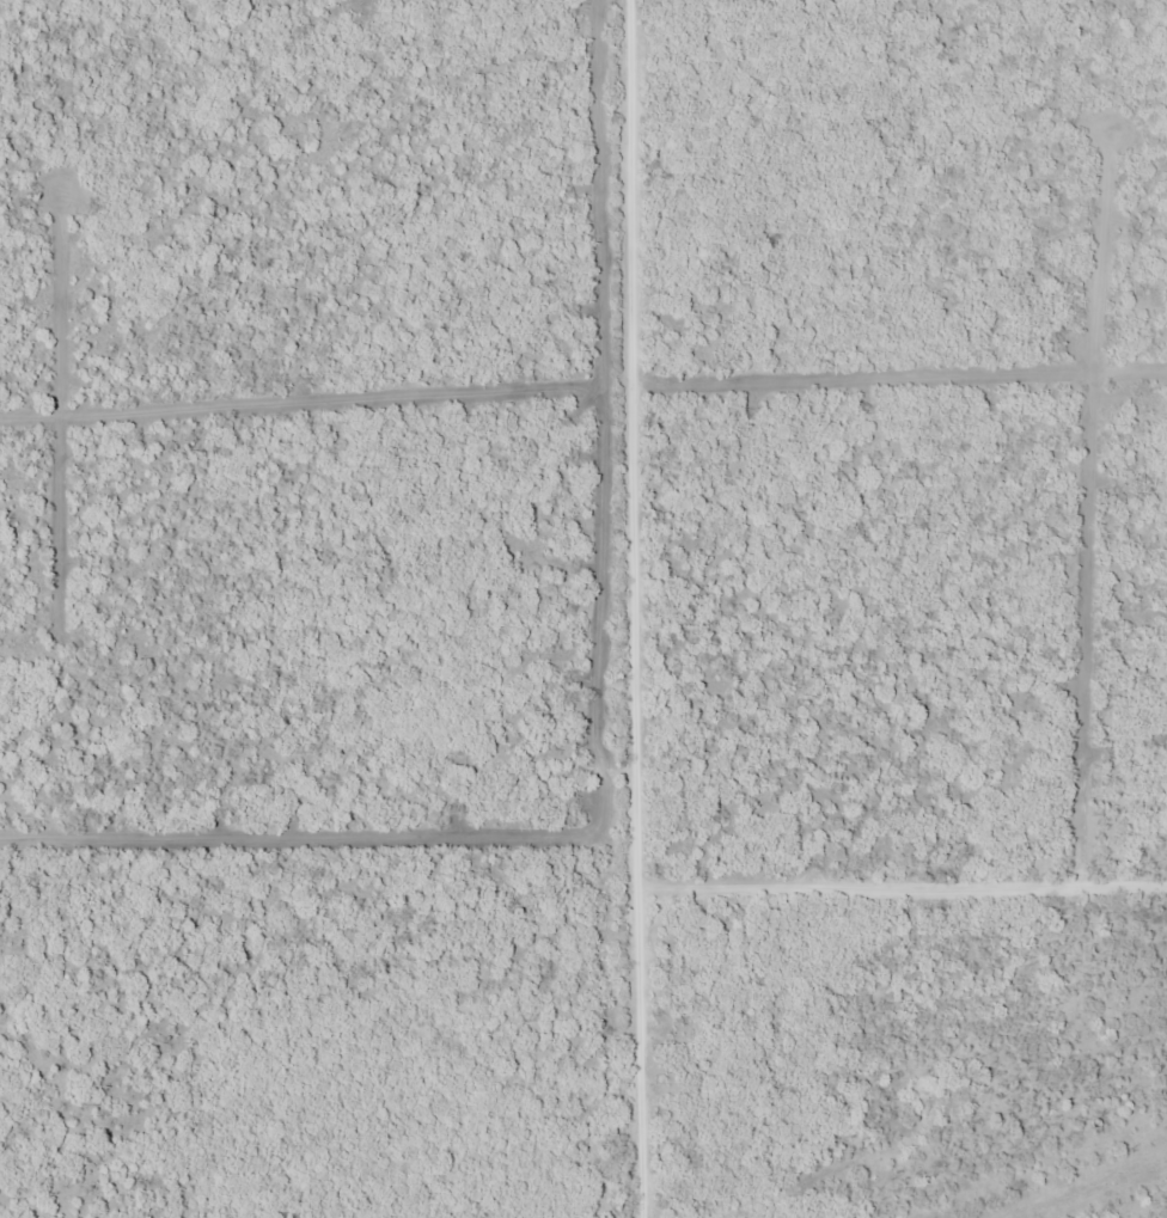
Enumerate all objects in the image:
road: (635, 608)

